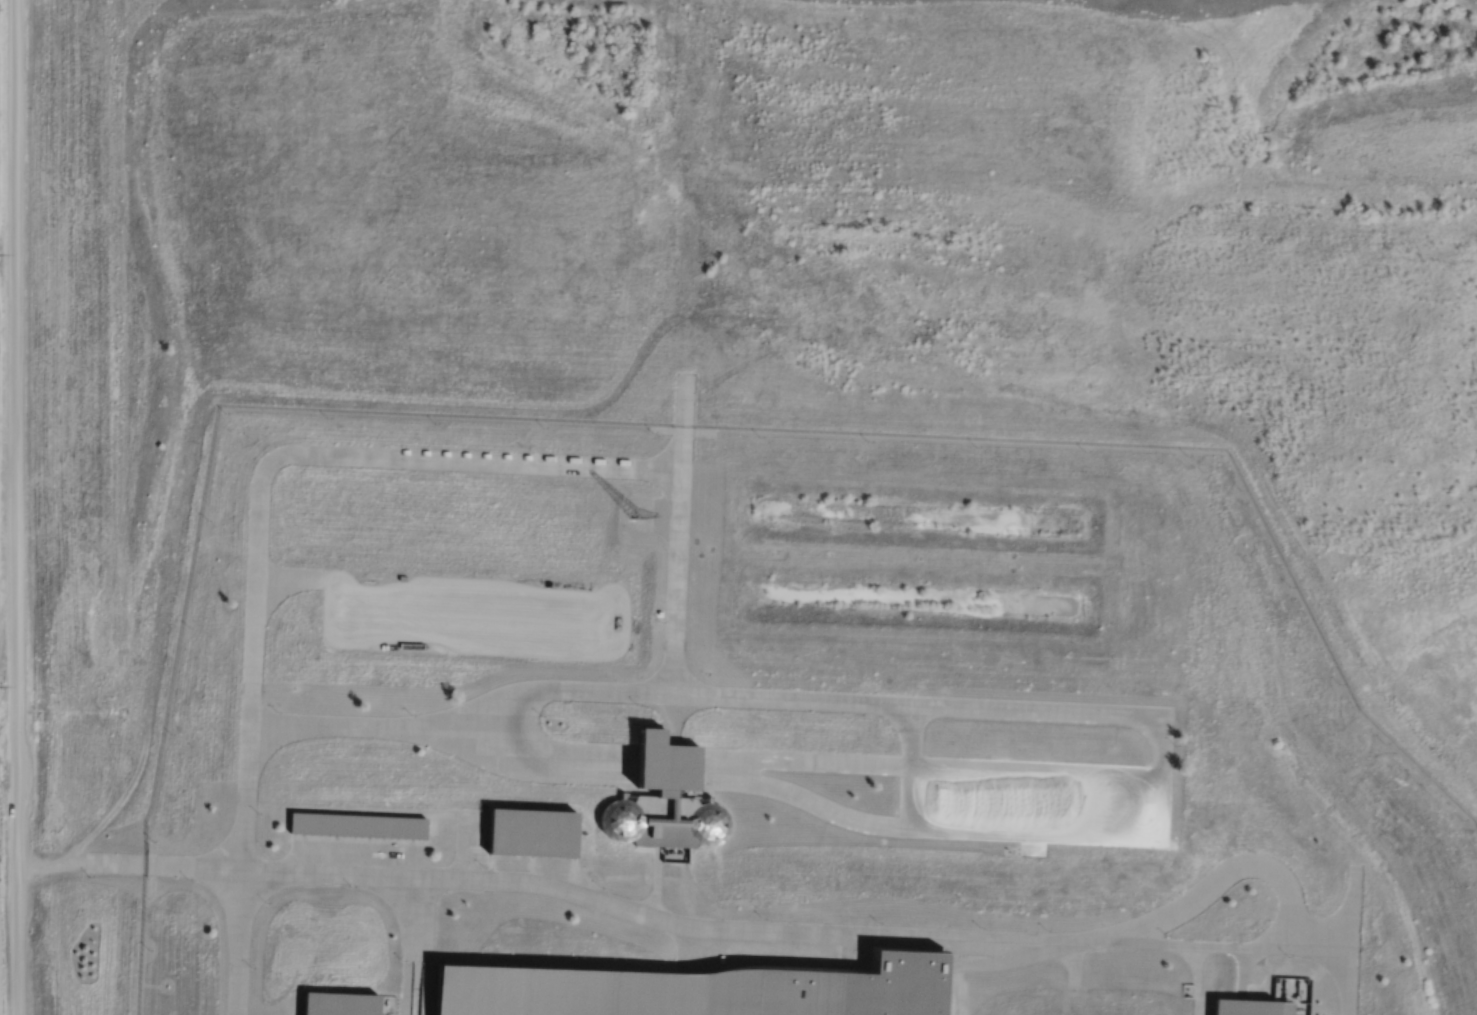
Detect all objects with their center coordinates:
road: (685, 422)
road: (418, 457)
road: (682, 495)
road: (19, 507)
road: (667, 518)
road: (281, 577)
road: (314, 578)
road: (340, 584)
road: (269, 601)
road: (677, 606)
road: (608, 634)
road: (254, 650)
road: (599, 690)
road: (794, 699)
road: (1071, 711)
road: (467, 718)
road: (672, 718)
road: (273, 725)
road: (515, 725)
road: (350, 727)
road: (914, 735)
road: (465, 738)
road: (265, 746)
building: (667, 758)
road: (806, 761)
road: (582, 763)
road: (1038, 771)
road: (578, 775)
building: (667, 788)
road: (912, 796)
road: (248, 797)
road: (805, 798)
building: (622, 818)
building: (666, 818)
building: (359, 823)
building: (710, 824)
building: (534, 830)
road: (1066, 834)
road: (463, 835)
road: (53, 864)
road: (166, 865)
road: (1222, 878)
road: (472, 879)
road: (657, 881)
road: (1356, 909)
road: (885, 930)
road: (710, 932)
road: (241, 942)
road: (883, 942)
road: (407, 945)
road: (1058, 945)
road: (428, 946)
road: (1216, 946)
road: (801, 950)
road: (691, 951)
road: (994, 960)
road: (1243, 961)
road: (1076, 962)
road: (1200, 971)
road: (1255, 975)
road: (1353, 984)
road: (1242, 986)
road: (951, 987)
building: (701, 989)
building: (341, 1002)
road: (1198, 1006)
building: (1255, 1006)

